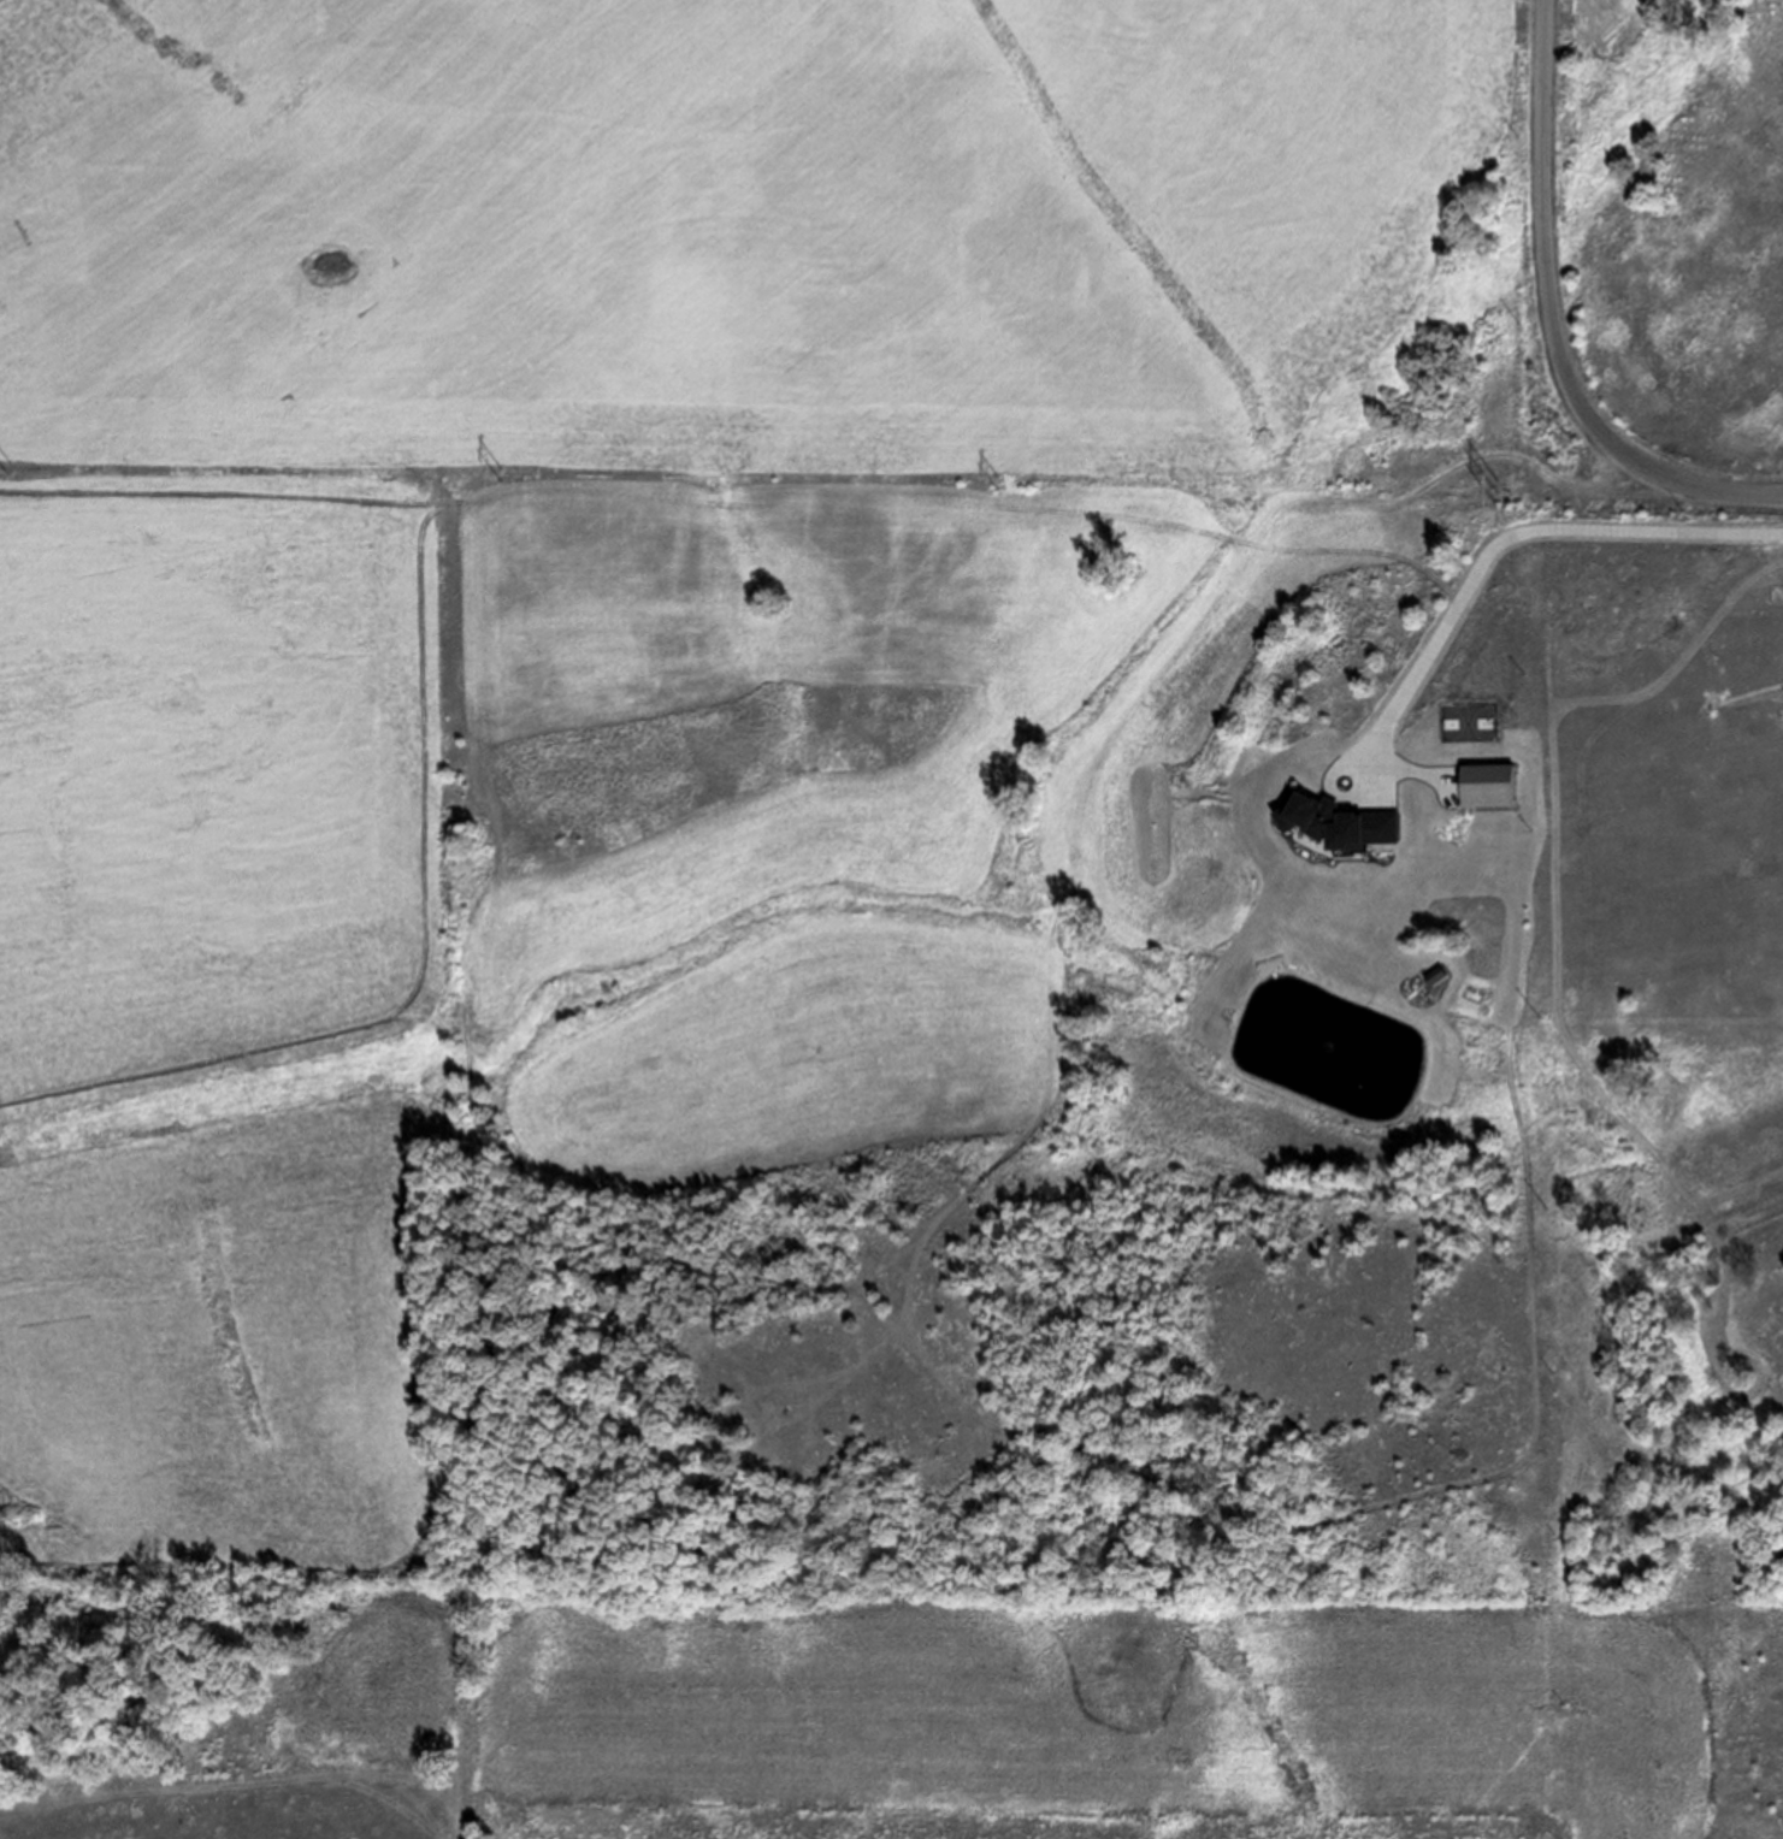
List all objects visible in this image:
road: (1561, 319)
road: (1460, 607)
building: (1327, 953)

